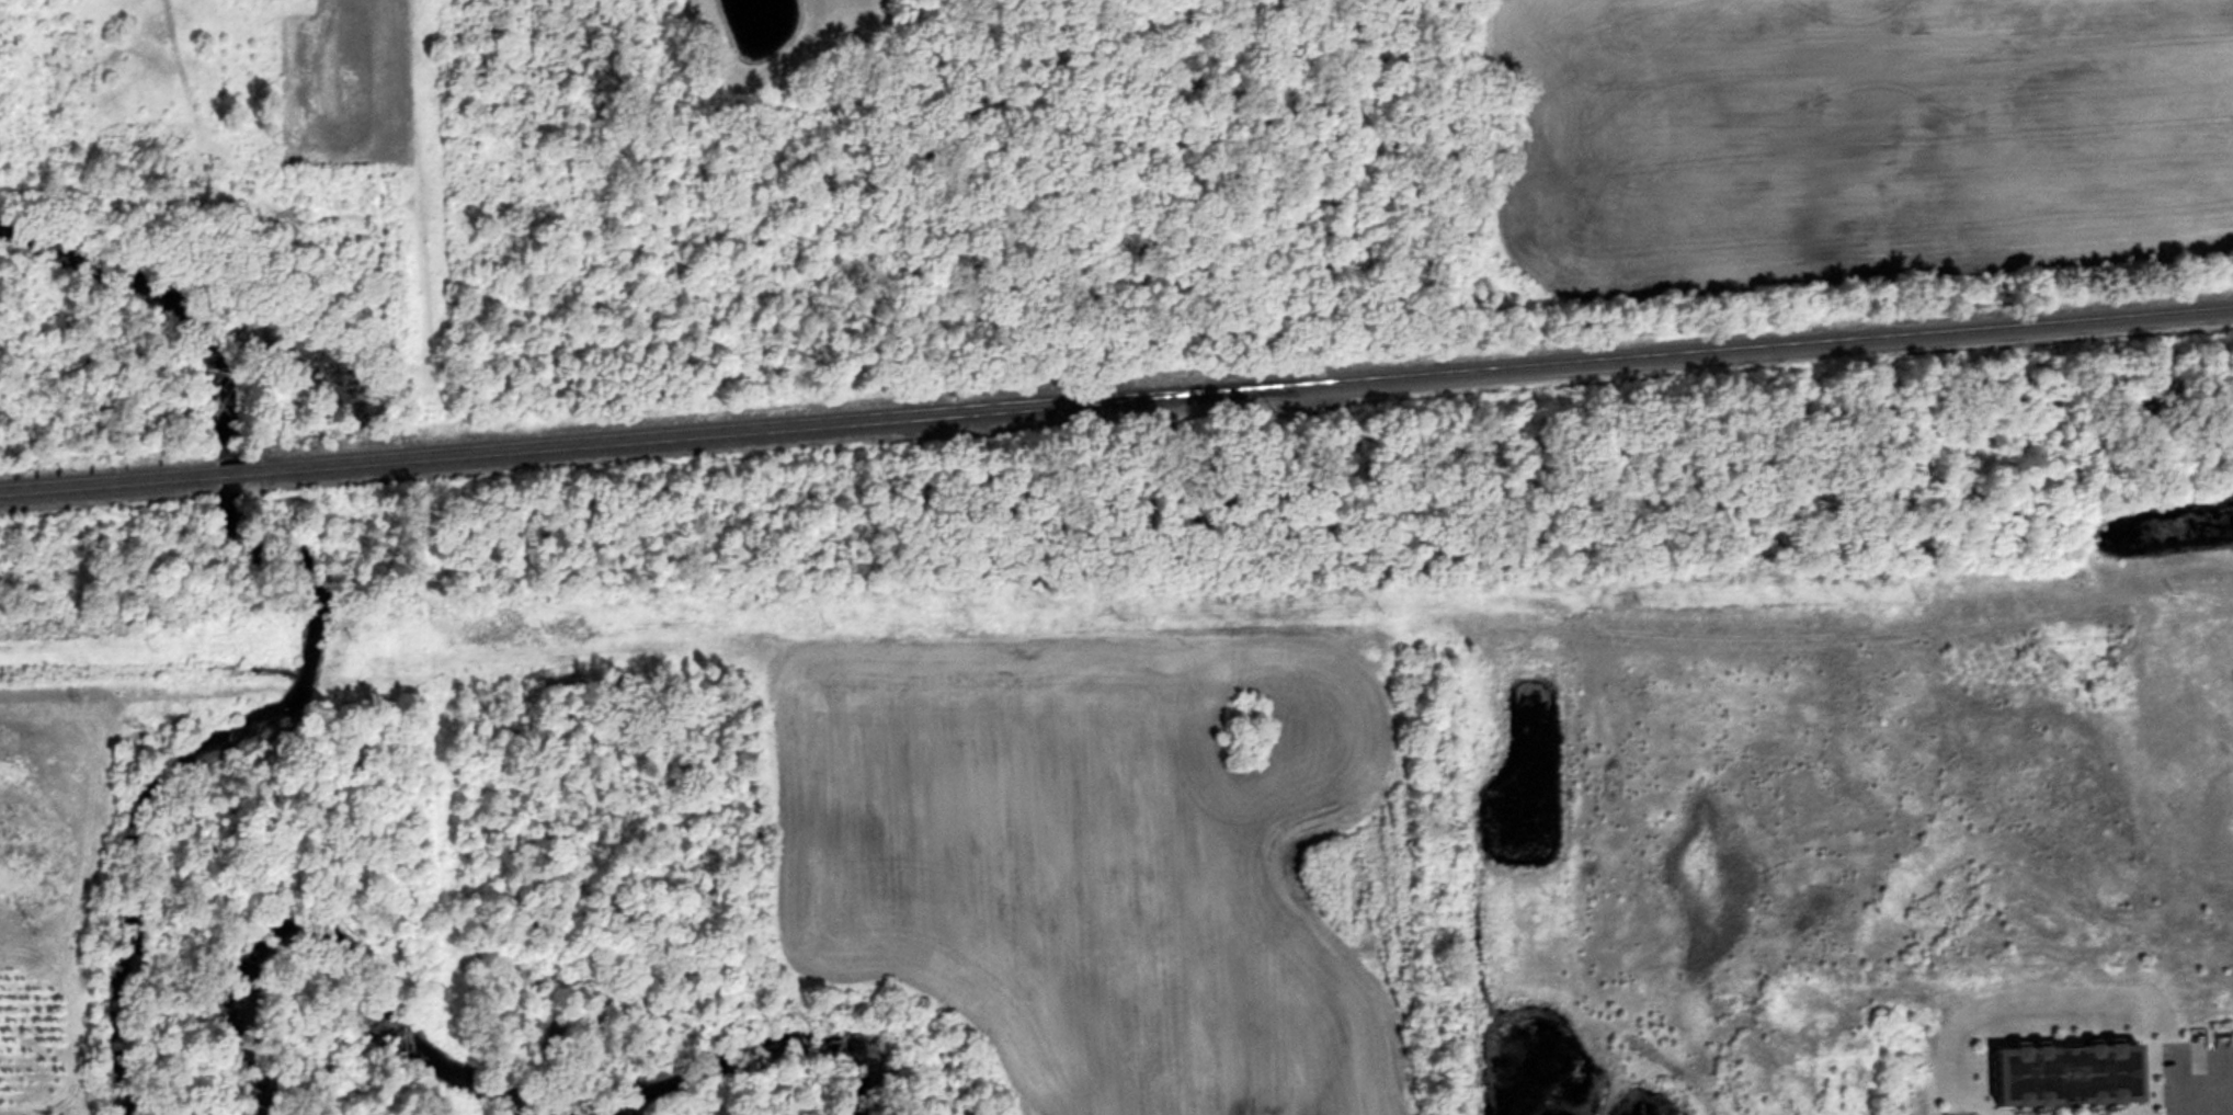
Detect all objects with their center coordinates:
railway: (1761, 344)
railway: (771, 422)
railway: (772, 432)
railway: (235, 466)
railway: (107, 476)
railway: (236, 476)
railway: (107, 487)
building: (2074, 1073)

